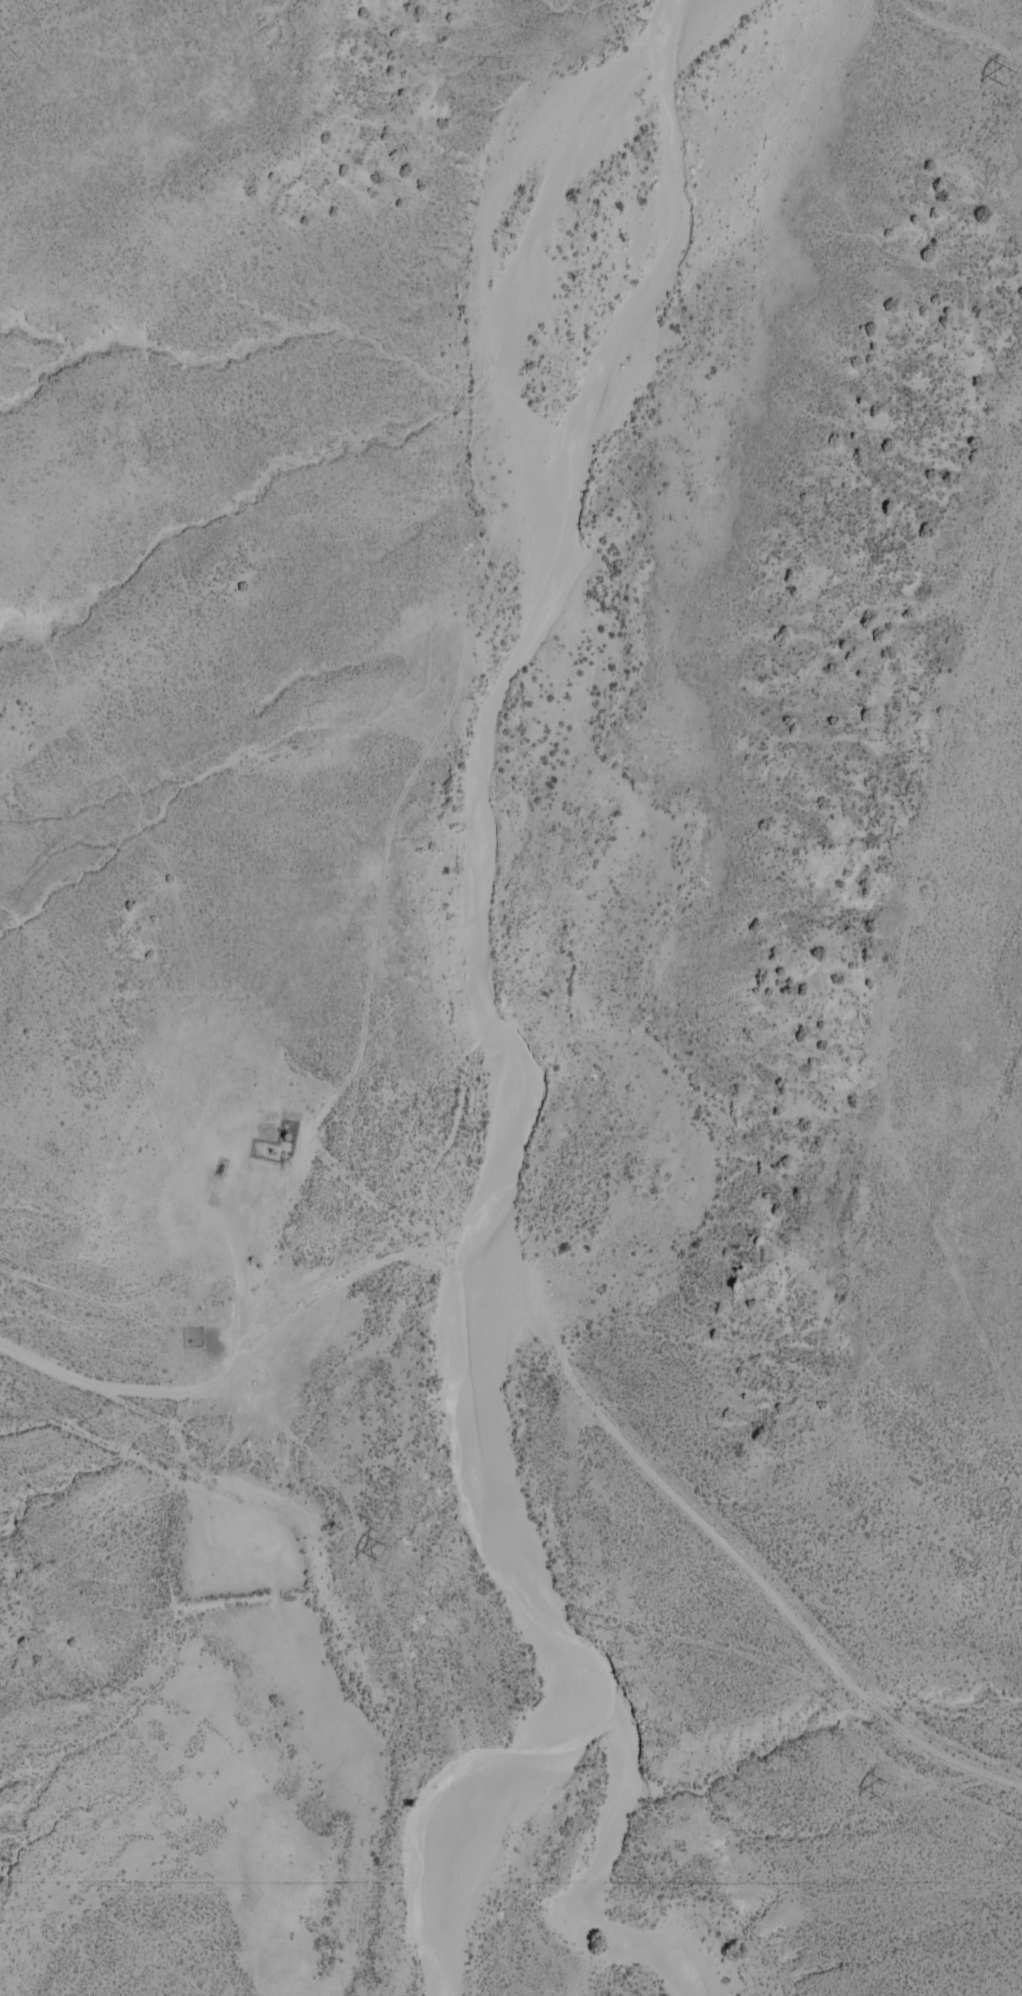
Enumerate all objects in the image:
power tower: (1006, 81)
river: (471, 784)
power tower: (372, 1553)
power tower: (879, 1791)
river: (469, 1838)
river: (593, 1886)

